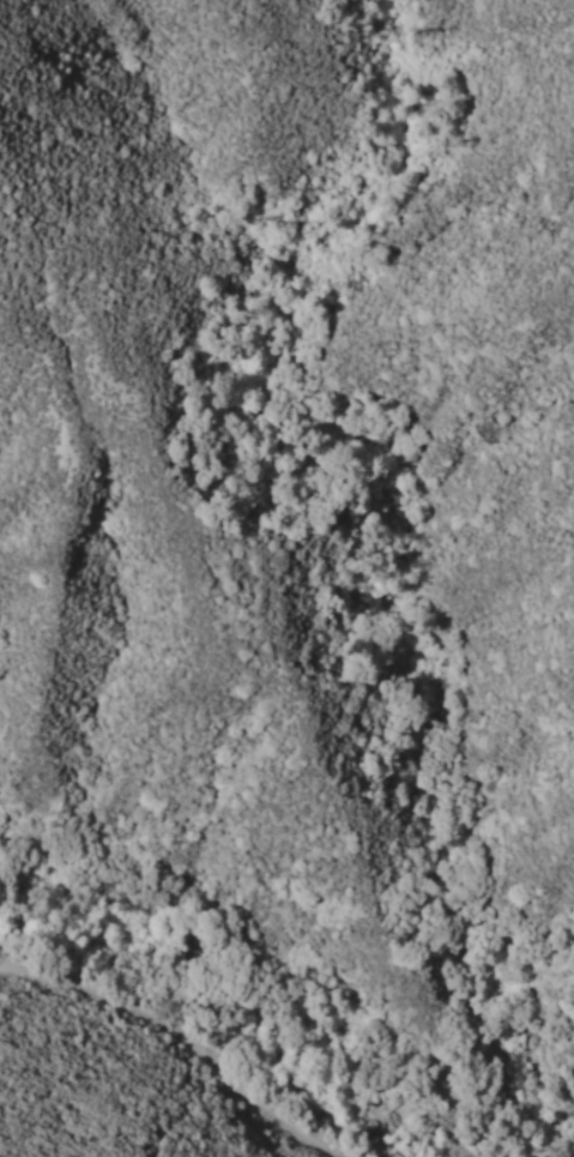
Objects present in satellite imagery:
road: (167, 1047)

